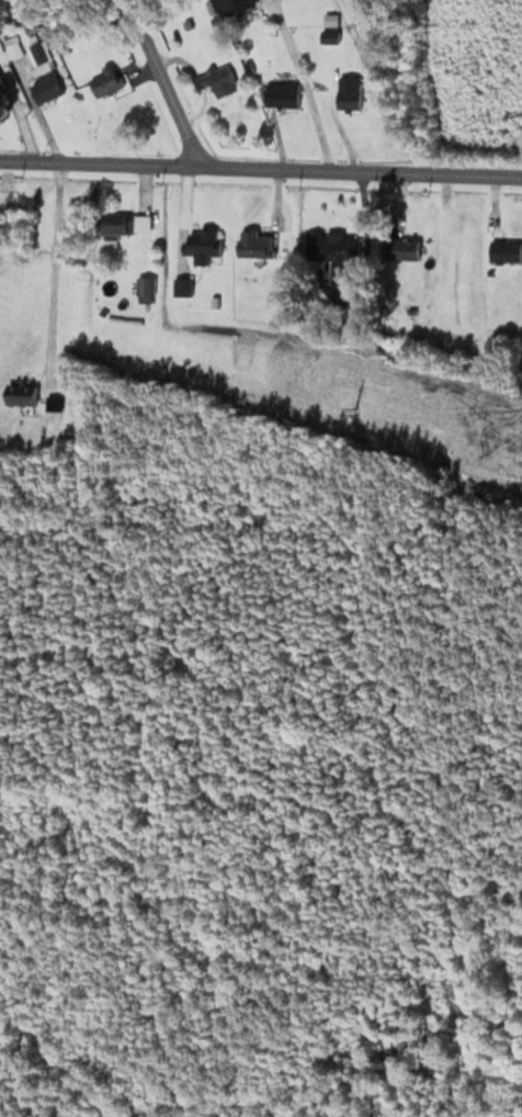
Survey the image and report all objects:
building: (238, 7)
building: (11, 47)
building: (3, 77)
building: (216, 80)
building: (43, 81)
building: (104, 82)
road: (163, 82)
road: (307, 84)
building: (349, 93)
building: (282, 94)
road: (261, 168)
building: (141, 222)
building: (114, 225)
building: (256, 242)
building: (204, 245)
building: (401, 247)
building: (332, 248)
road: (48, 272)
building: (144, 286)
building: (21, 393)

